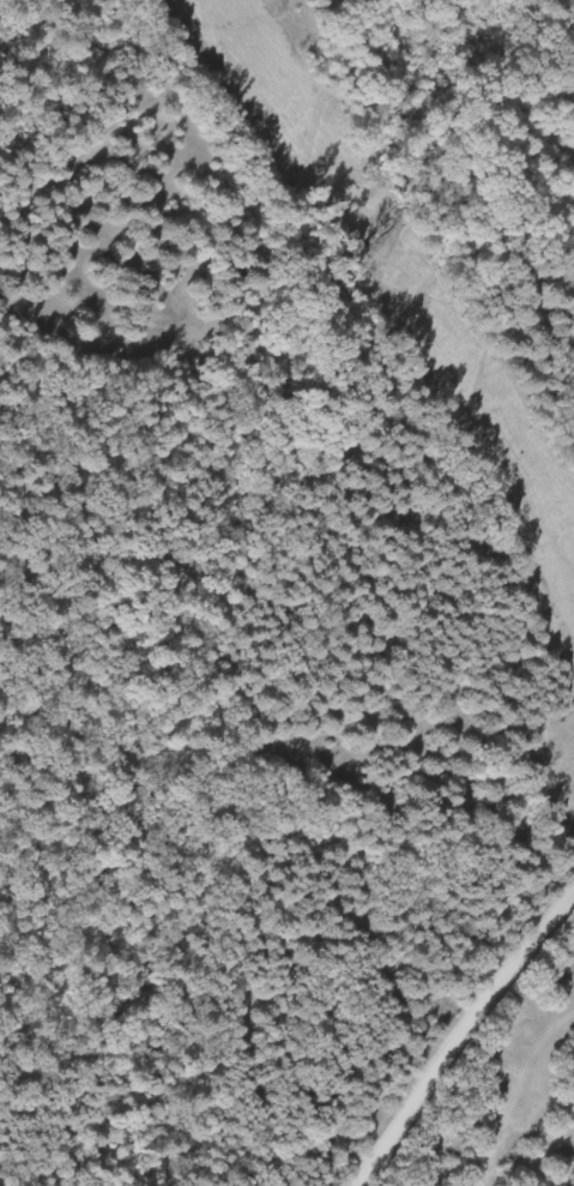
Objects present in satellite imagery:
road: (562, 928)
road: (464, 1040)

